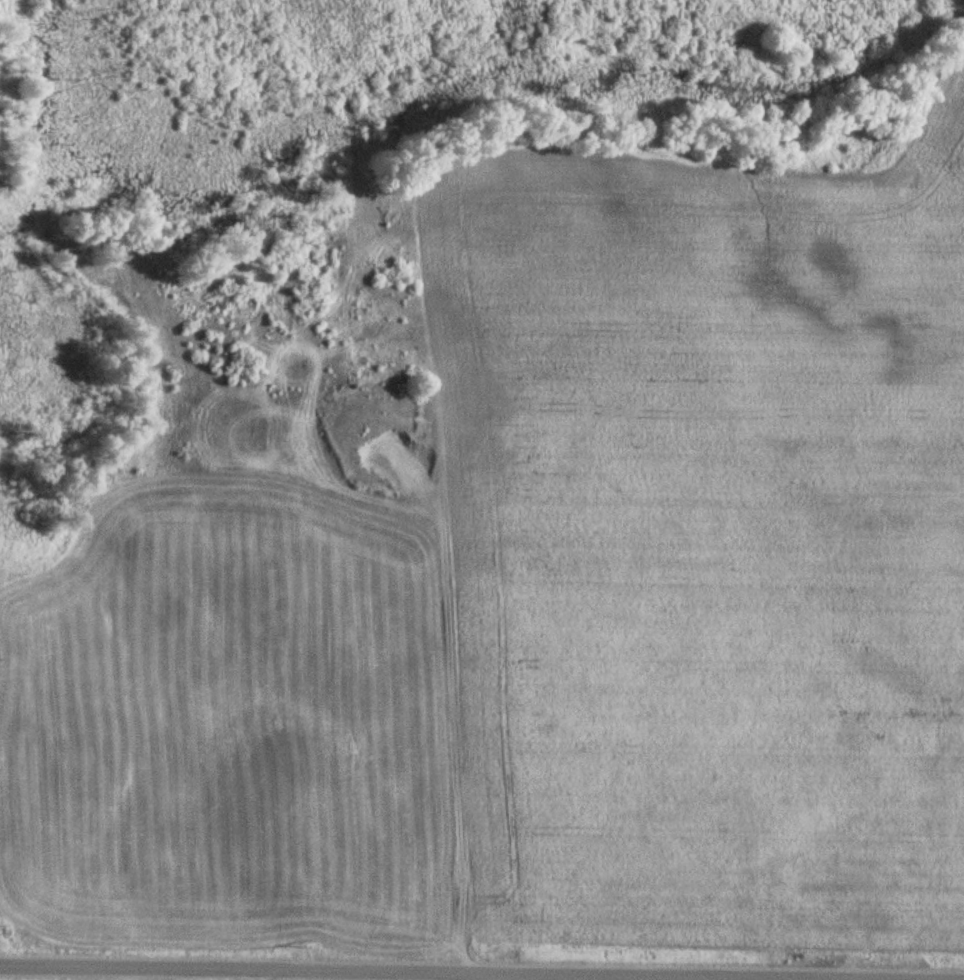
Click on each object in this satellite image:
road: (904, 604)
road: (428, 800)
road: (449, 975)

